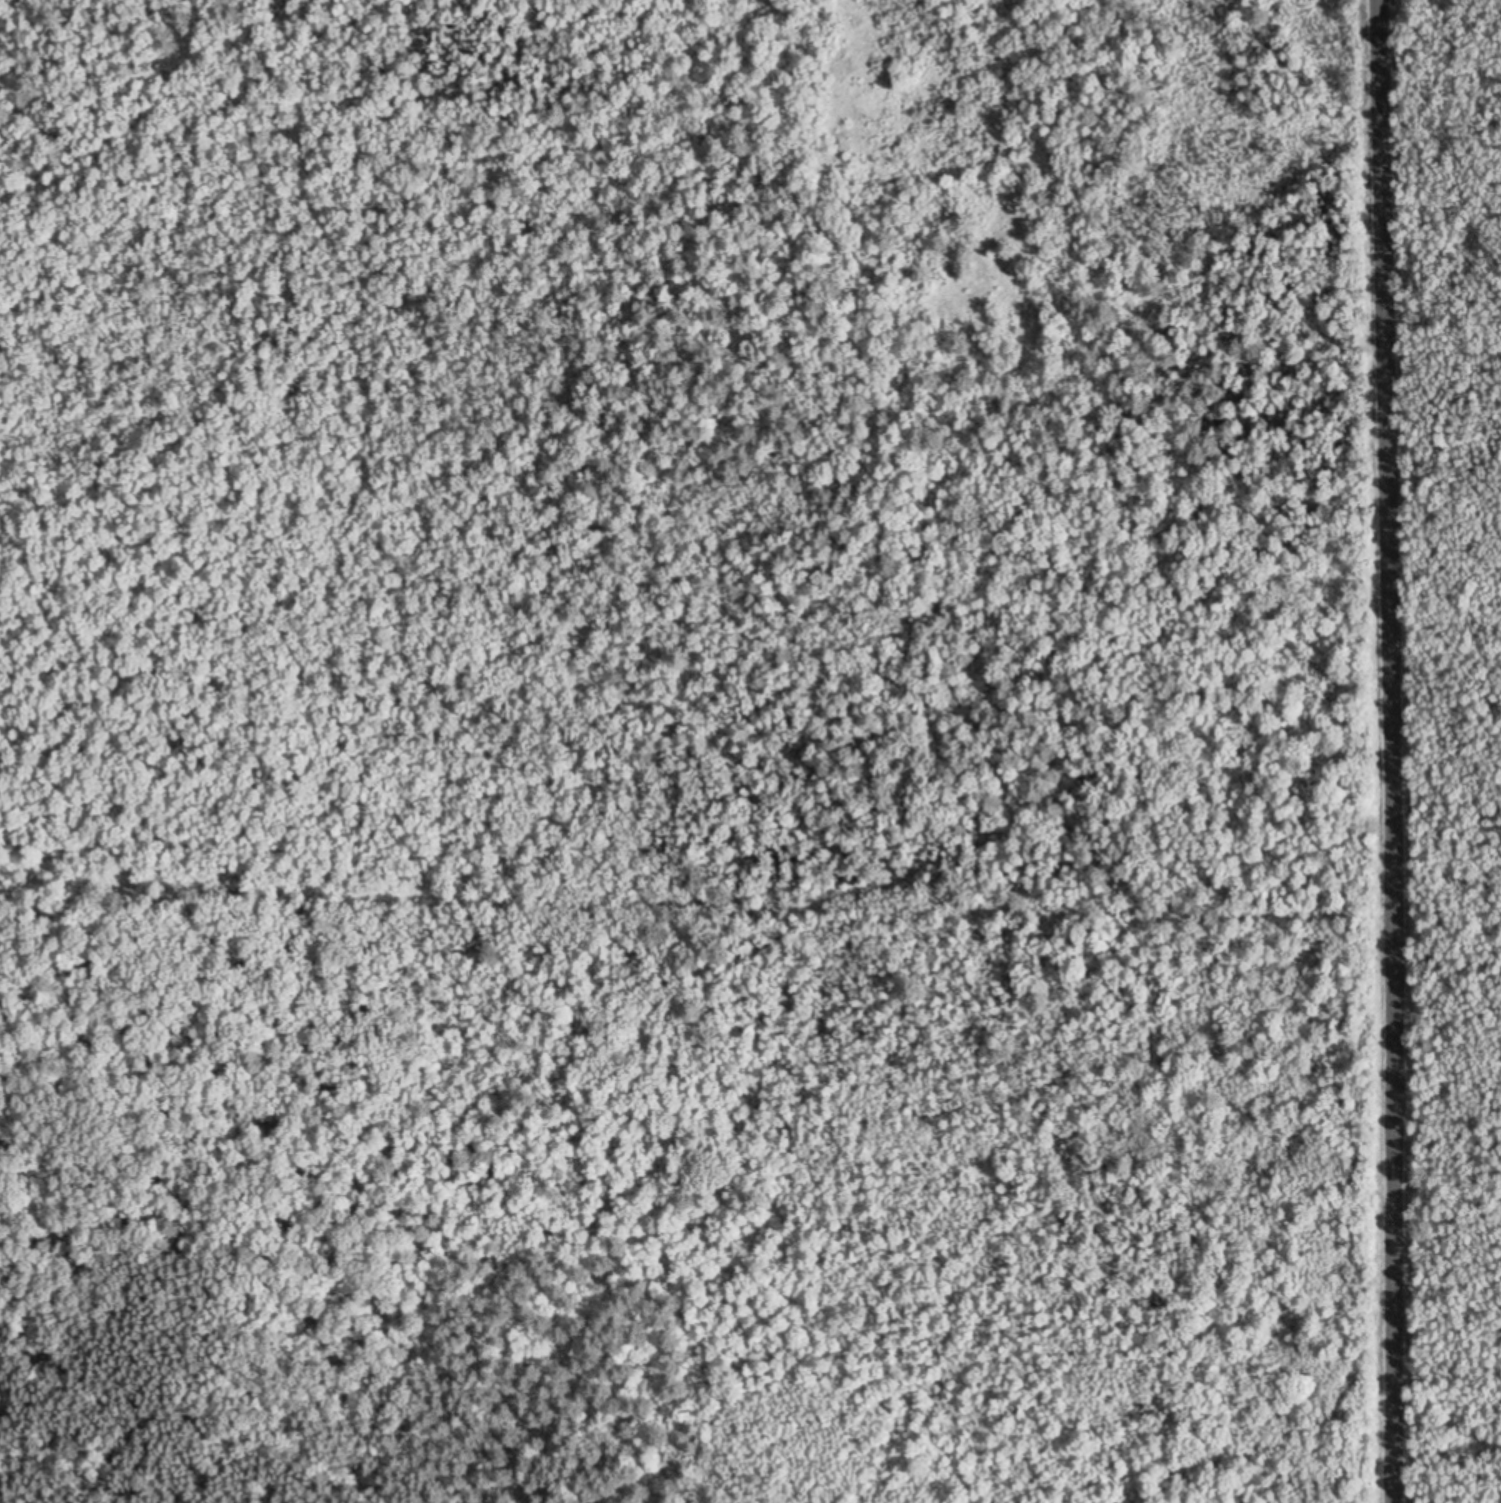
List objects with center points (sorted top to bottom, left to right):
road: (1381, 751)

